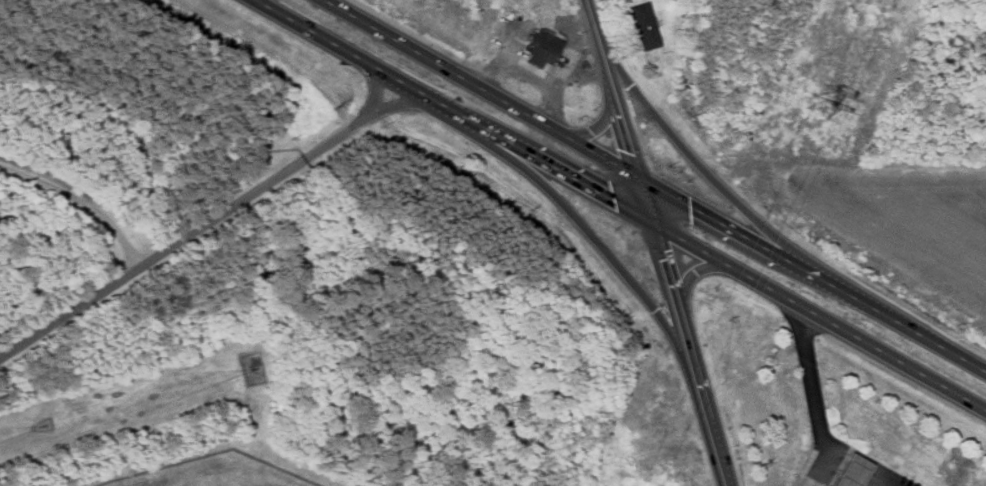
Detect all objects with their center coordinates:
building: (642, 26)
road: (595, 28)
road: (570, 37)
building: (542, 48)
building: (651, 55)
road: (575, 69)
road: (530, 73)
road: (608, 75)
road: (616, 101)
power tower: (821, 104)
road: (635, 106)
road: (600, 123)
road: (626, 140)
road: (696, 163)
traffic signals: (635, 172)
road: (656, 183)
road: (84, 194)
road: (642, 195)
road: (616, 200)
traffic signals: (650, 219)
road: (201, 224)
road: (598, 242)
road: (663, 263)
road: (691, 273)
road: (684, 335)
road: (813, 398)
road: (710, 425)
road: (833, 461)
building: (852, 471)
road: (852, 474)
building: (832, 483)
road: (869, 483)

